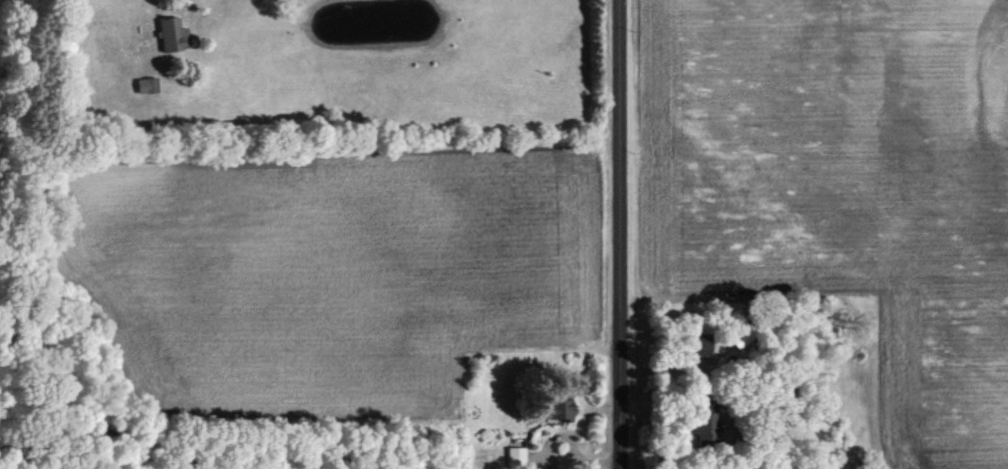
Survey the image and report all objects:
building: (173, 34)
building: (148, 84)
road: (618, 234)
building: (706, 348)
building: (563, 409)
building: (709, 426)
building: (518, 457)

